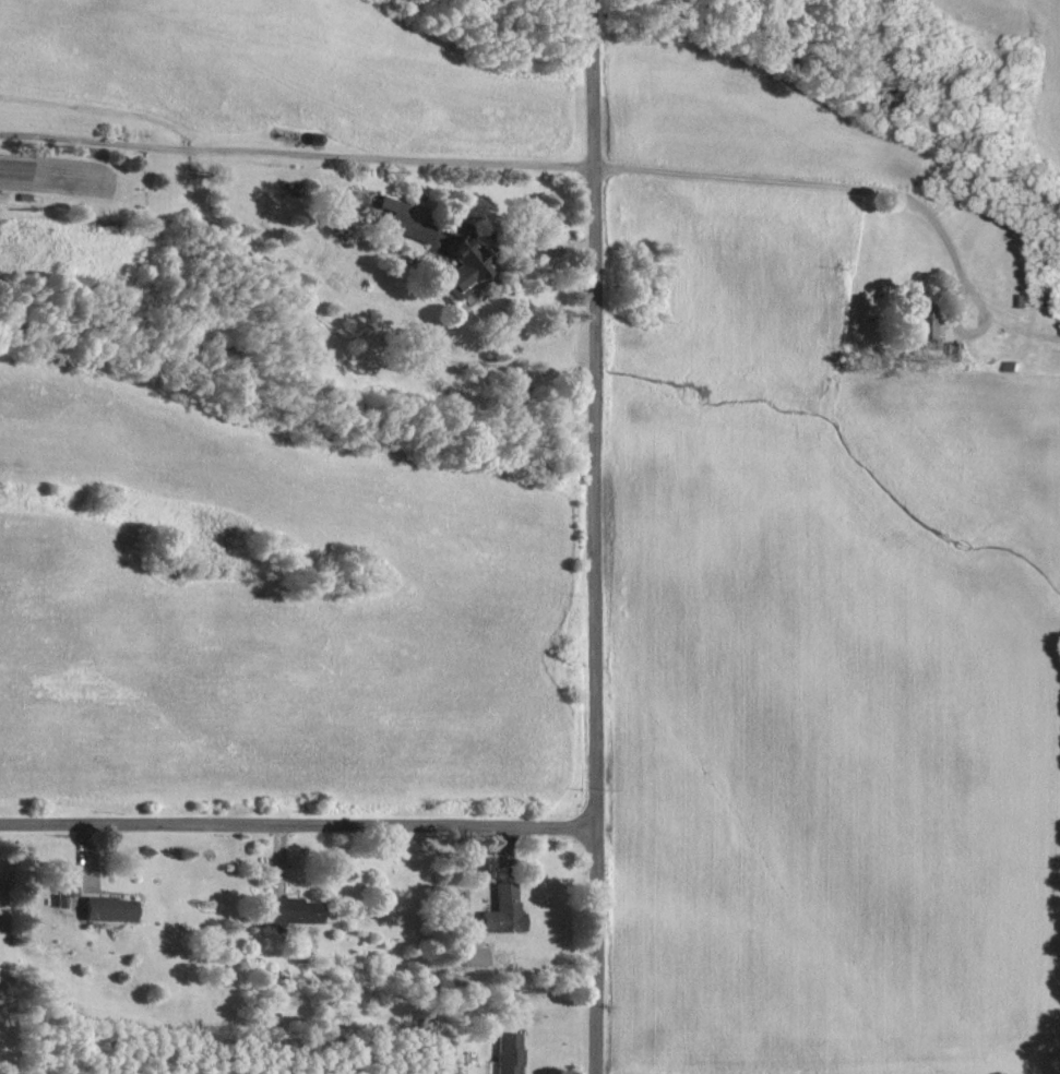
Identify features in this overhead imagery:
road: (567, 200)
building: (403, 219)
building: (465, 262)
building: (925, 330)
road: (593, 536)
road: (297, 823)
building: (63, 886)
building: (106, 909)
building: (290, 910)
building: (503, 911)
building: (471, 957)
building: (508, 1053)

